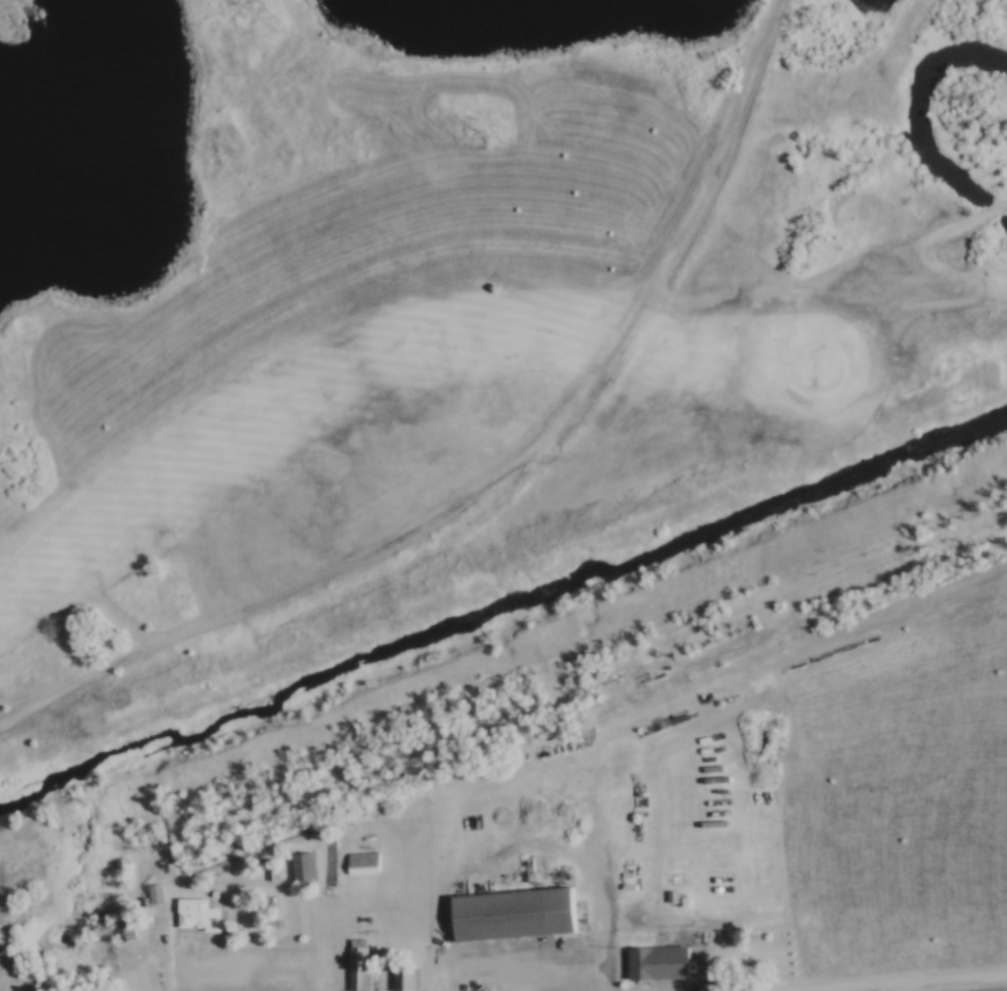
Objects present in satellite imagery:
park: (447, 294)
road: (500, 472)
building: (356, 861)
building: (298, 866)
building: (265, 872)
building: (208, 892)
building: (149, 893)
building: (158, 893)
building: (192, 914)
building: (509, 915)
road: (157, 919)
building: (118, 929)
building: (653, 962)
building: (352, 965)
building: (399, 980)
road: (882, 980)
road: (888, 985)
road: (173, 986)

